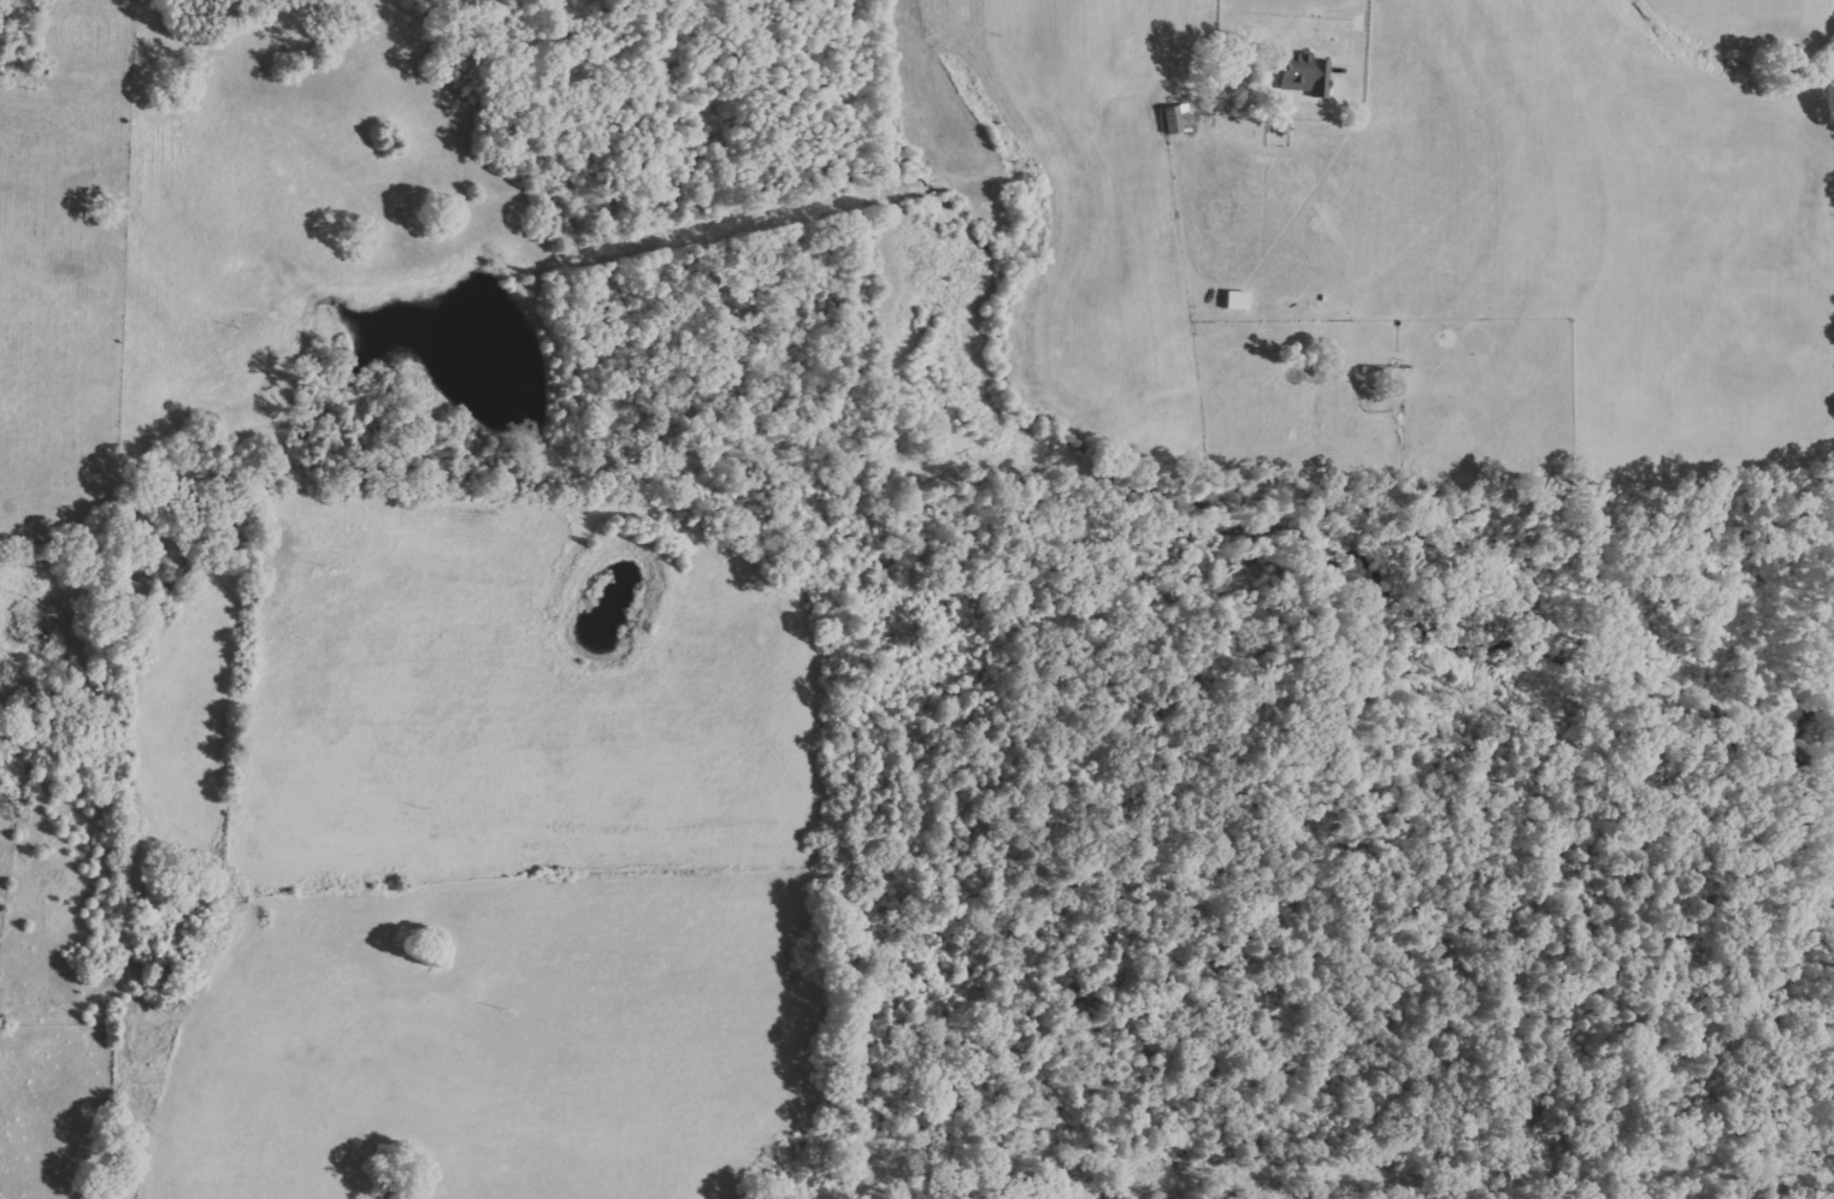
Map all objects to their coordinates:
building: (1301, 73)
building: (1280, 124)
building: (1242, 300)
road: (170, 1138)

